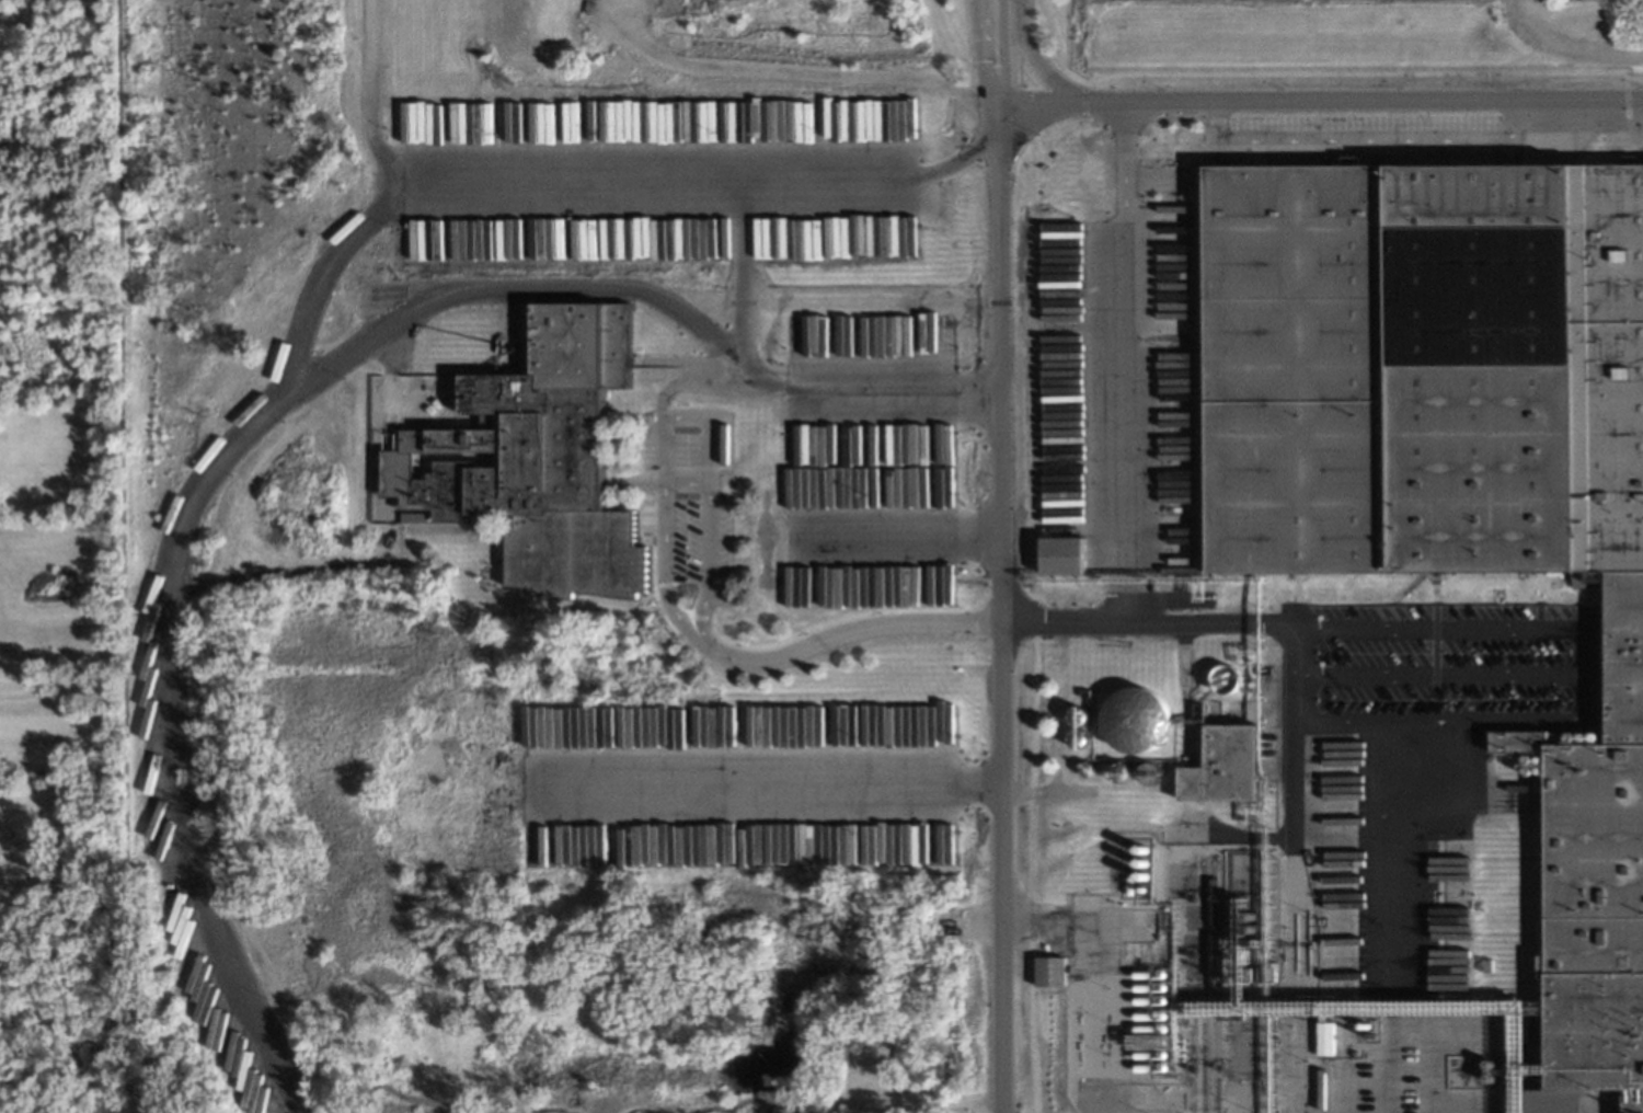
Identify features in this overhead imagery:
road: (1565, 48)
road: (974, 62)
road: (1001, 62)
road: (1032, 69)
road: (789, 71)
road: (1345, 74)
road: (368, 99)
road: (1364, 141)
road: (1115, 165)
road: (581, 183)
road: (735, 273)
road: (991, 289)
road: (674, 374)
road: (675, 385)
road: (641, 389)
road: (274, 401)
road: (680, 420)
road: (1117, 428)
building: (1456, 459)
building: (536, 462)
road: (670, 486)
road: (893, 538)
building: (1061, 555)
road: (286, 574)
road: (1029, 584)
road: (1272, 630)
road: (1434, 674)
building: (1135, 720)
road: (1496, 722)
road: (1361, 723)
road: (1300, 750)
road: (1360, 753)
road: (1261, 755)
building: (1526, 757)
building: (1228, 767)
road: (1179, 781)
road: (761, 785)
road: (1039, 794)
road: (1337, 814)
road: (1385, 932)
building: (1543, 966)
building: (1048, 972)
railway: (1210, 987)
railway: (1200, 988)
road: (1360, 1010)
building: (1323, 1039)
road: (1341, 1049)
road: (1530, 1060)
road: (917, 1085)

